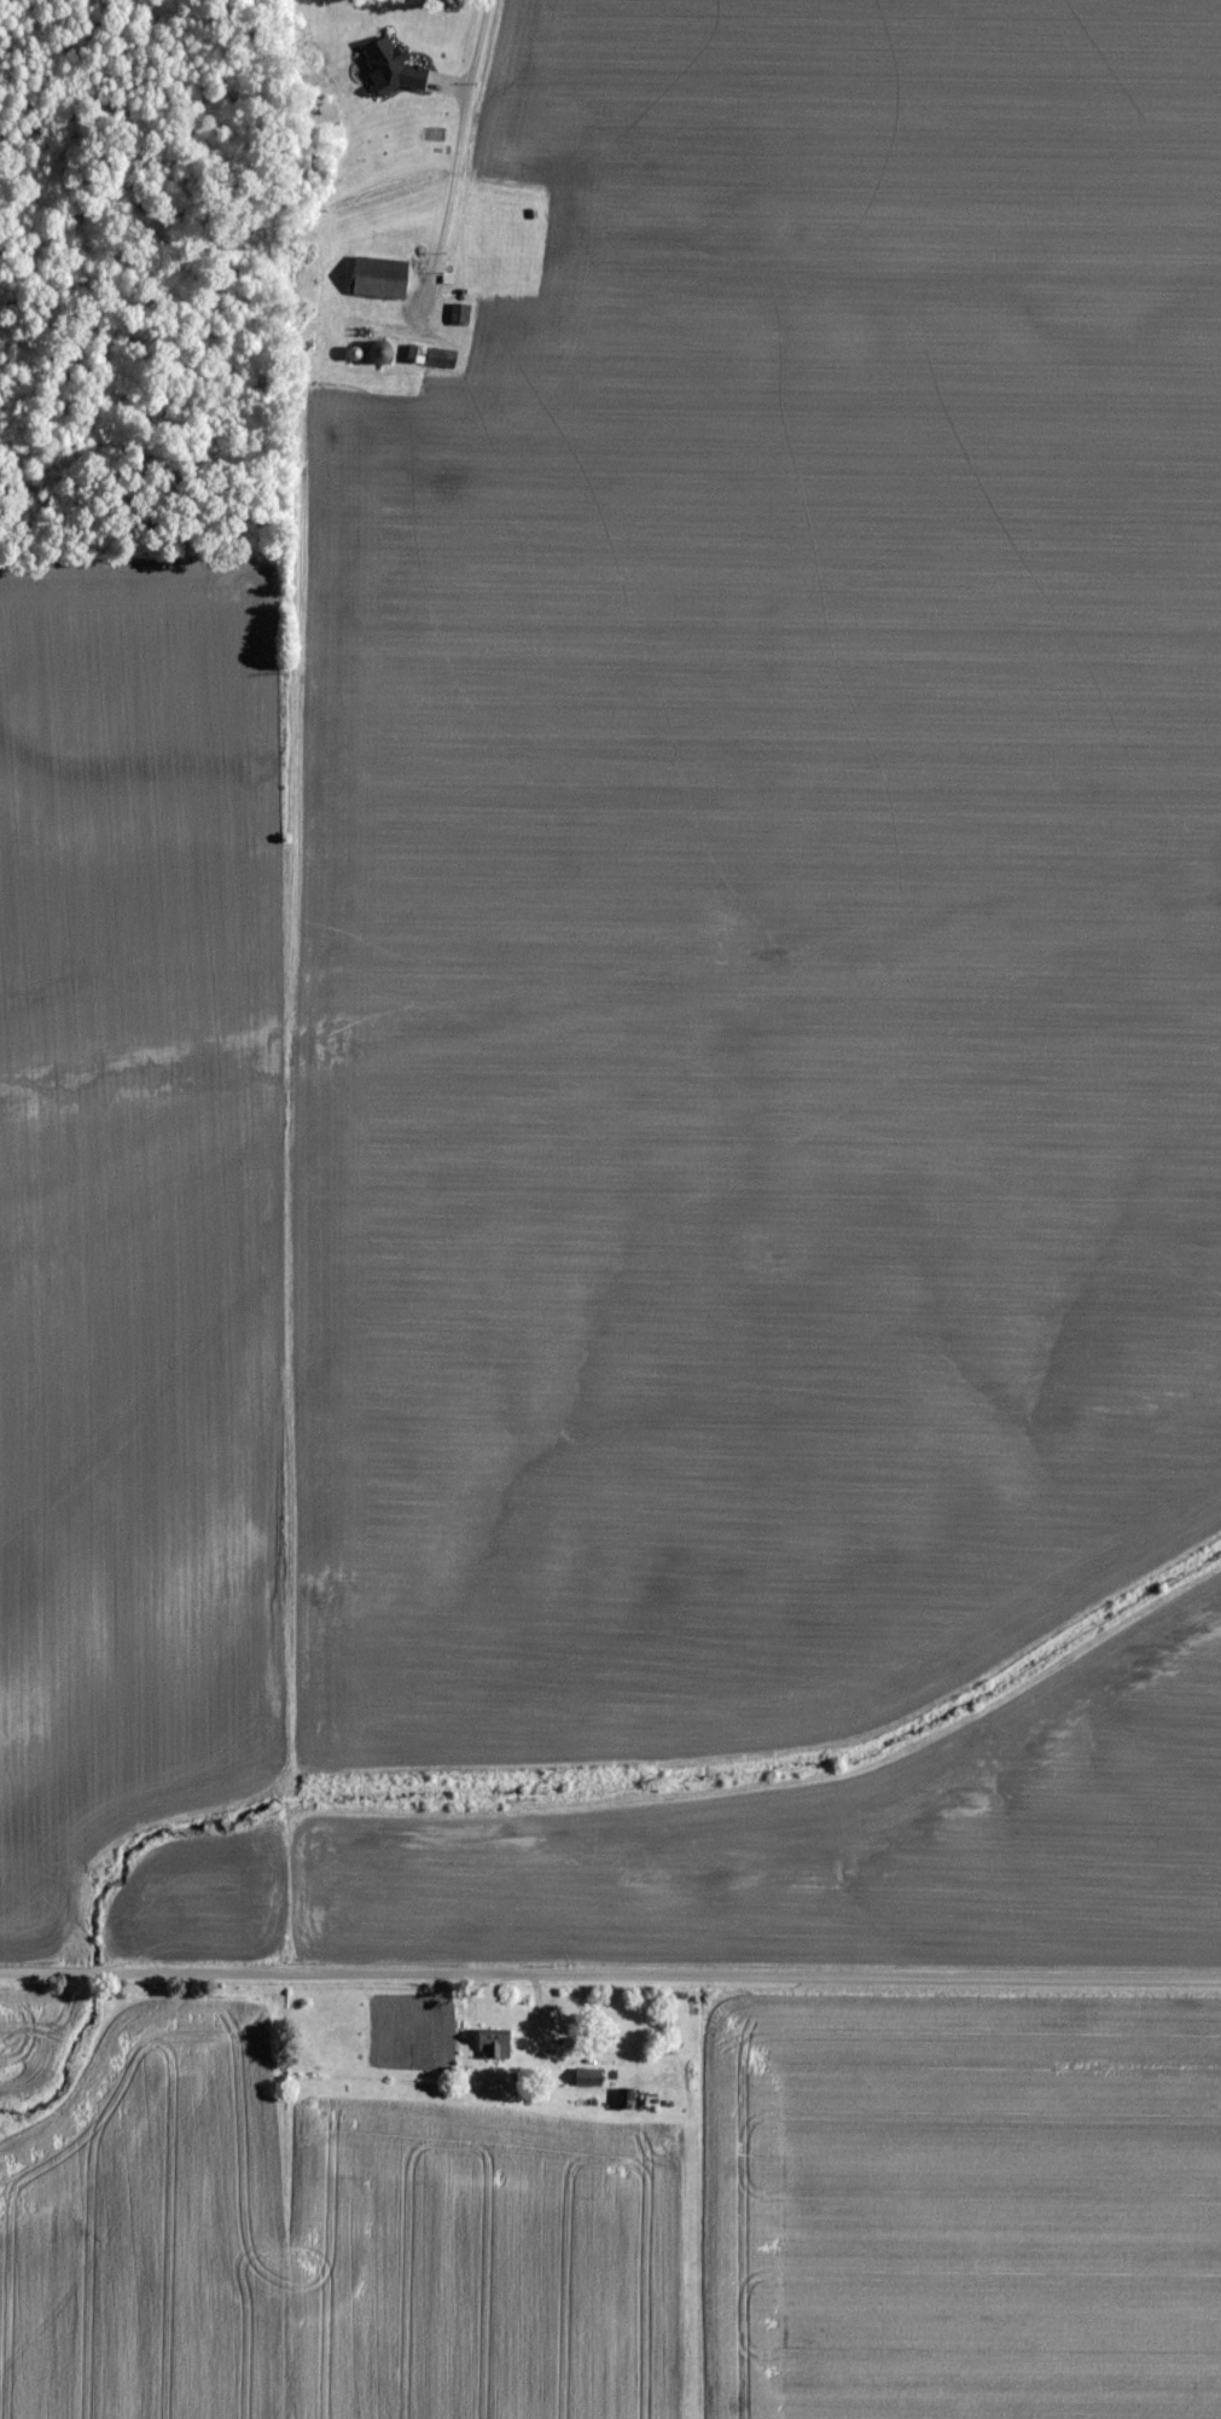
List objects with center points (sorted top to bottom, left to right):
building: (396, 66)
road: (464, 129)
building: (386, 286)
building: (464, 312)
building: (419, 349)
building: (446, 355)
road: (610, 1974)
building: (498, 2041)

